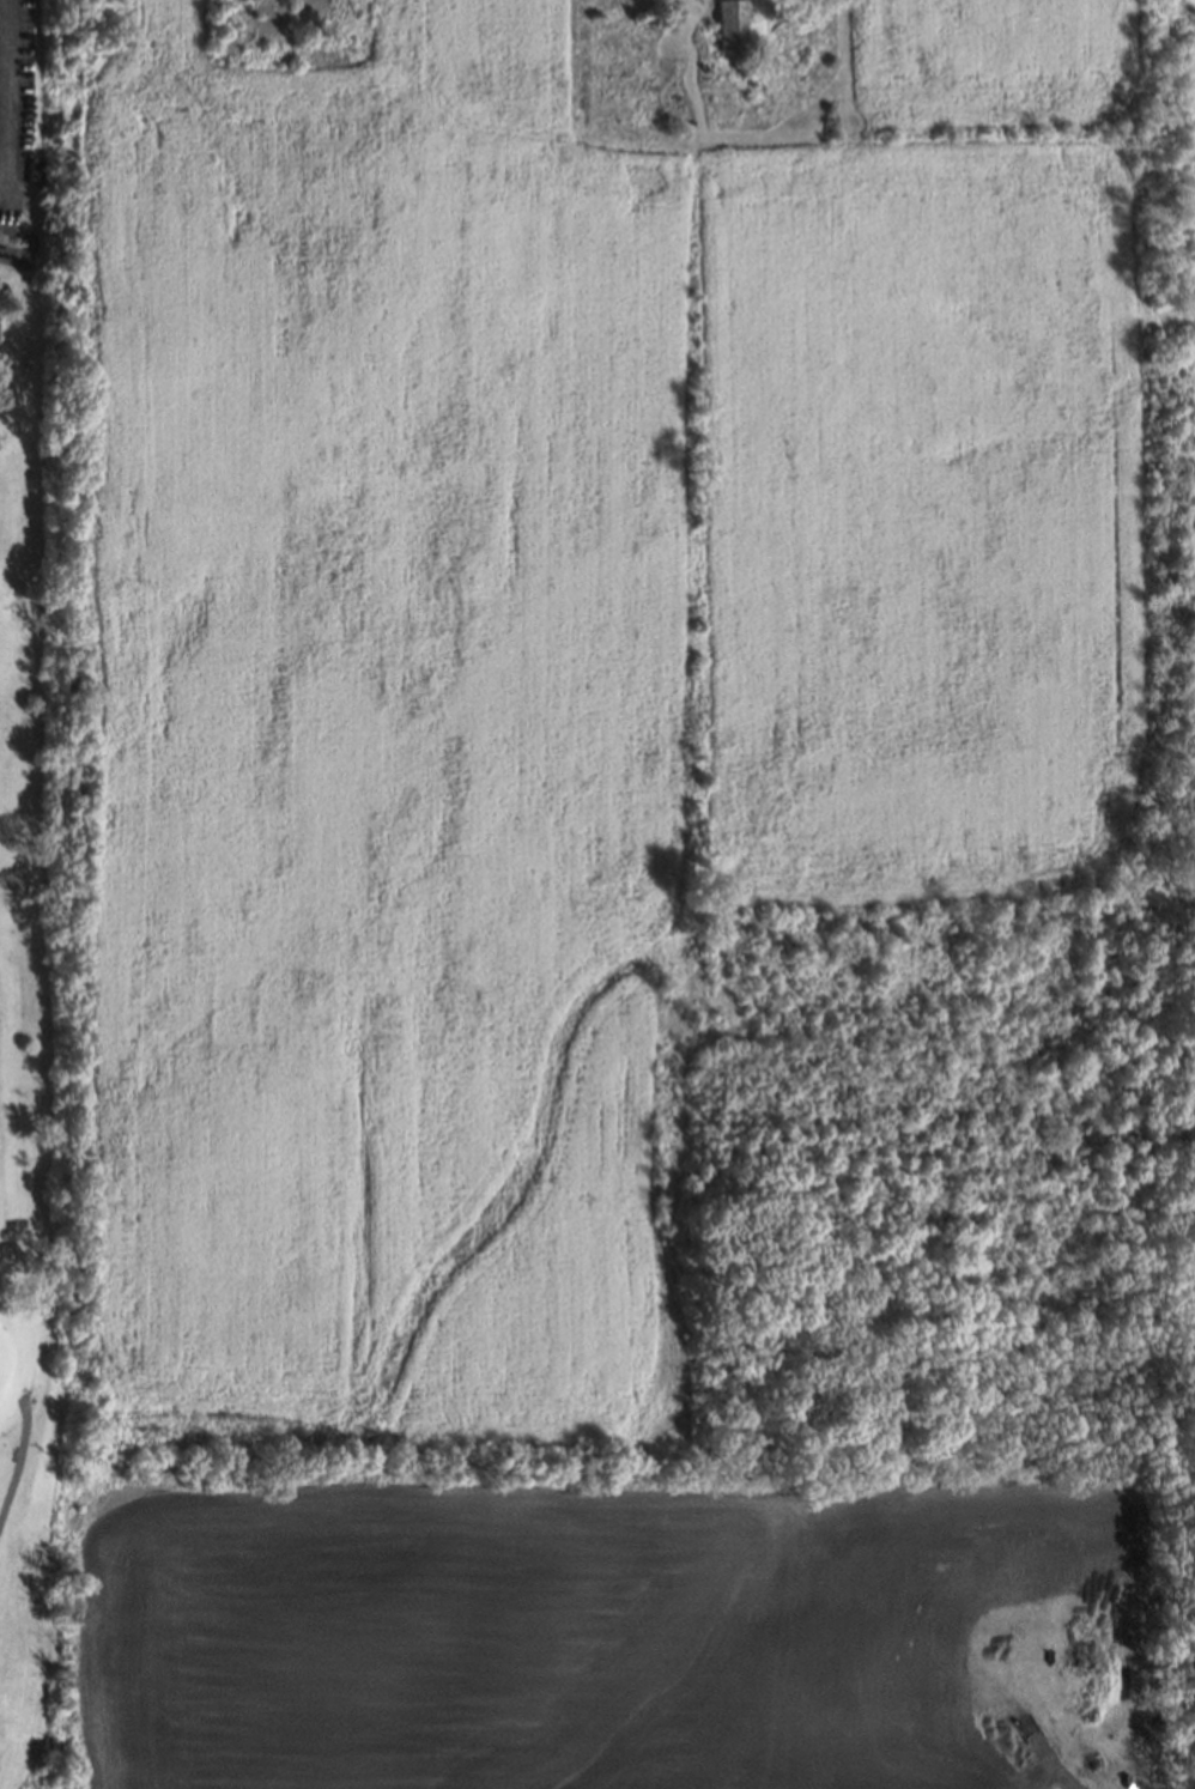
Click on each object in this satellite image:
building: (727, 24)
road: (4, 96)
parking lot: (0, 182)
park: (42, 900)
road: (20, 1460)

